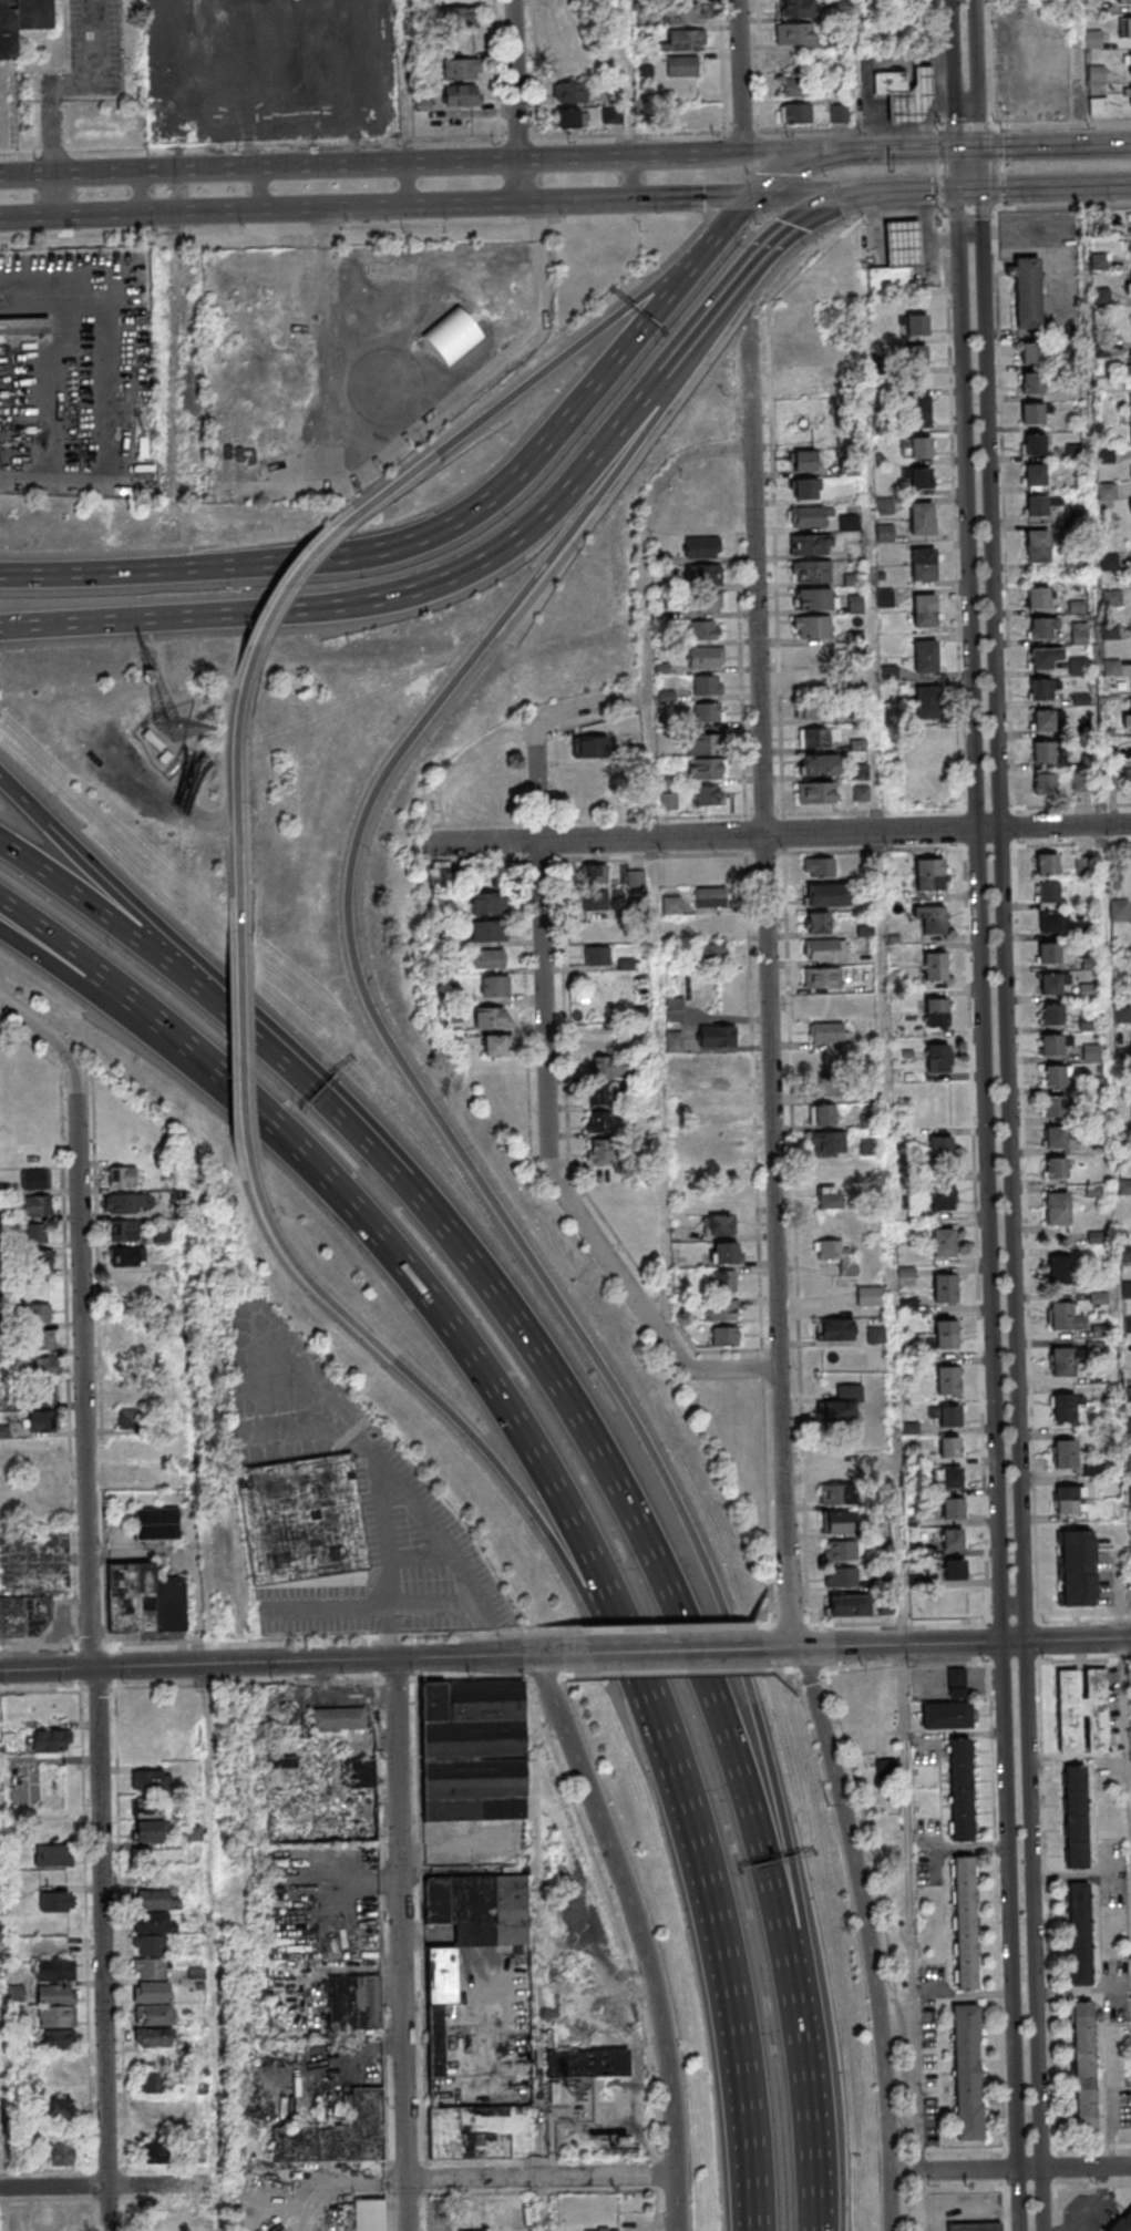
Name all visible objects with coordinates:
building: (460, 1)
building: (1127, 1)
building: (796, 8)
building: (1093, 8)
building: (682, 13)
building: (1022, 13)
building: (460, 20)
building: (22, 23)
building: (1128, 28)
building: (580, 31)
building: (795, 33)
building: (685, 40)
building: (1093, 40)
road: (96, 42)
parking lot: (100, 49)
building: (1130, 61)
building: (682, 65)
building: (461, 69)
road: (1077, 72)
road: (955, 74)
road: (977, 74)
building: (1097, 74)
road: (742, 76)
road: (629, 79)
road: (404, 82)
building: (891, 83)
road: (74, 85)
building: (793, 86)
building: (569, 92)
building: (462, 95)
building: (1130, 96)
building: (913, 99)
road: (517, 101)
building: (1098, 106)
building: (795, 112)
building: (837, 113)
building: (611, 114)
building: (689, 116)
building: (568, 117)
road: (53, 130)
road: (815, 131)
road: (1043, 145)
road: (249, 146)
traffic signals: (981, 148)
road: (926, 150)
traffic signals: (958, 150)
road: (873, 151)
road: (775, 153)
road: (798, 164)
road: (350, 165)
road: (981, 168)
road: (958, 169)
road: (633, 178)
road: (408, 185)
road: (1056, 186)
road: (263, 188)
traffic signals: (958, 189)
road: (970, 189)
traffic signals: (983, 189)
road: (925, 191)
road: (143, 192)
traffic signals: (892, 192)
road: (822, 193)
road: (55, 195)
traffic signals: (753, 195)
road: (377, 206)
road: (810, 215)
road: (722, 232)
road: (971, 235)
building: (904, 245)
building: (890, 278)
building: (1130, 282)
road: (733, 290)
building: (1027, 291)
building: (917, 325)
building: (24, 327)
building: (454, 330)
building: (793, 351)
building: (1031, 353)
building: (917, 356)
building: (1130, 362)
road: (535, 378)
building: (804, 378)
building: (1032, 383)
building: (919, 411)
building: (1034, 414)
building: (1130, 415)
building: (1035, 444)
building: (922, 448)
building: (1075, 453)
building: (1107, 456)
building: (801, 460)
road: (1004, 466)
building: (851, 470)
building: (1036, 475)
road: (773, 477)
building: (922, 479)
road: (501, 487)
building: (803, 487)
building: (1107, 493)
building: (1038, 506)
road: (955, 511)
building: (1075, 514)
building: (809, 517)
building: (923, 520)
building: (849, 522)
building: (884, 533)
road: (515, 539)
building: (1037, 541)
building: (809, 546)
building: (700, 548)
building: (1076, 559)
building: (1110, 563)
building: (924, 565)
road: (113, 572)
road: (299, 572)
building: (812, 573)
building: (703, 576)
building: (884, 597)
building: (1039, 599)
building: (1113, 599)
building: (815, 600)
building: (707, 604)
road: (646, 605)
building: (1078, 607)
building: (925, 611)
road: (110, 619)
building: (813, 627)
building: (1041, 629)
building: (703, 631)
building: (1111, 633)
building: (1080, 635)
building: (813, 656)
building: (927, 658)
building: (707, 659)
building: (1040, 660)
building: (1079, 668)
building: (1113, 669)
road: (741, 685)
building: (708, 687)
building: (1042, 690)
building: (1082, 701)
building: (928, 703)
building: (806, 709)
building: (709, 714)
building: (1045, 721)
building: (1127, 722)
building: (821, 739)
building: (589, 746)
building: (709, 746)
building: (1045, 753)
building: (821, 767)
building: (710, 770)
building: (592, 773)
building: (1121, 780)
building: (1083, 783)
building: (1046, 785)
building: (816, 794)
building: (709, 798)
building: (667, 800)
road: (1072, 806)
road: (237, 819)
road: (835, 832)
road: (484, 843)
road: (767, 845)
road: (938, 849)
road: (634, 857)
building: (816, 866)
building: (1048, 866)
building: (1086, 867)
building: (595, 872)
building: (930, 876)
building: (636, 877)
road: (120, 890)
building: (1049, 894)
building: (826, 895)
building: (710, 896)
building: (596, 901)
building: (671, 904)
building: (490, 905)
building: (1120, 912)
building: (816, 922)
building: (934, 922)
building: (1051, 924)
building: (713, 925)
building: (1086, 932)
building: (490, 933)
building: (822, 950)
building: (713, 953)
building: (596, 955)
building: (1050, 955)
road: (86, 959)
building: (491, 960)
building: (936, 968)
road: (883, 973)
building: (822, 977)
road: (82, 983)
building: (1051, 986)
building: (495, 988)
building: (1089, 993)
road: (214, 1005)
road: (526, 1014)
building: (937, 1015)
building: (1122, 1016)
building: (1052, 1017)
building: (492, 1019)
building: (1090, 1025)
building: (829, 1034)
building: (716, 1036)
building: (596, 1038)
road: (51, 1042)
road: (565, 1046)
building: (1053, 1047)
building: (495, 1048)
building: (1123, 1050)
building: (1092, 1055)
road: (246, 1057)
road: (547, 1057)
building: (824, 1060)
building: (939, 1060)
building: (716, 1062)
building: (609, 1069)
building: (1056, 1078)
building: (825, 1087)
road: (333, 1090)
building: (598, 1094)
building: (719, 1096)
building: (1056, 1109)
building: (822, 1114)
building: (598, 1121)
building: (1057, 1139)
building: (826, 1141)
building: (598, 1149)
building: (940, 1153)
building: (1058, 1170)
building: (122, 1176)
building: (35, 1179)
road: (480, 1181)
building: (1124, 1189)
building: (829, 1196)
building: (943, 1200)
building: (124, 1203)
building: (35, 1205)
road: (989, 1210)
road: (1014, 1210)
building: (1058, 1213)
building: (721, 1227)
building: (123, 1230)
building: (35, 1233)
road: (796, 1240)
building: (1098, 1240)
building: (944, 1245)
building: (127, 1255)
building: (726, 1255)
building: (1127, 1255)
building: (834, 1256)
building: (38, 1260)
road: (760, 1269)
building: (1061, 1271)
building: (726, 1283)
building: (946, 1291)
building: (1128, 1291)
building: (868, 1296)
building: (39, 1313)
building: (722, 1313)
building: (1062, 1318)
road: (462, 1326)
building: (1128, 1327)
building: (834, 1329)
building: (127, 1332)
building: (947, 1337)
building: (727, 1338)
building: (42, 1340)
building: (1063, 1364)
building: (40, 1368)
building: (949, 1382)
building: (43, 1394)
building: (1129, 1396)
building: (841, 1407)
road: (783, 1409)
building: (1065, 1410)
road: (457, 1416)
building: (130, 1418)
building: (952, 1419)
building: (41, 1421)
building: (1130, 1428)
building: (125, 1445)
building: (950, 1450)
building: (1067, 1457)
building: (1130, 1462)
building: (832, 1464)
building: (953, 1480)
building: (836, 1494)
road: (1035, 1499)
building: (1068, 1502)
building: (954, 1511)
building: (301, 1519)
building: (835, 1522)
building: (156, 1523)
road: (986, 1524)
building: (953, 1542)
road: (788, 1550)
building: (840, 1550)
building: (1078, 1571)
building: (956, 1572)
building: (841, 1576)
building: (144, 1600)
building: (956, 1603)
building: (849, 1604)
building: (24, 1616)
road: (686, 1624)
road: (763, 1626)
road: (670, 1631)
road: (291, 1639)
traffic signals: (1028, 1643)
road: (948, 1644)
traffic signals: (1004, 1644)
road: (679, 1652)
road: (296, 1662)
road: (93, 1663)
building: (956, 1683)
road: (1129, 1704)
building: (1082, 1710)
building: (946, 1716)
building: (338, 1719)
building: (51, 1740)
building: (472, 1750)
road: (685, 1776)
building: (151, 1779)
building: (960, 1792)
building: (316, 1801)
building: (148, 1808)
building: (1077, 1820)
building: (151, 1832)
building: (52, 1857)
building: (156, 1901)
building: (58, 1903)
road: (861, 1908)
road: (911, 1909)
building: (154, 1923)
road: (212, 1924)
building: (966, 1926)
road: (639, 1935)
building: (1081, 1937)
road: (401, 1944)
building: (151, 1957)
road: (538, 1964)
building: (54, 1970)
building: (353, 2001)
building: (153, 2003)
building: (56, 2006)
building: (477, 2024)
building: (153, 2037)
building: (59, 2039)
road: (747, 2040)
building: (587, 2063)
building: (1084, 2068)
building: (967, 2077)
building: (150, 2083)
building: (55, 2108)
building: (336, 2135)
road: (1, 2138)
building: (624, 2141)
road: (1093, 2148)
building: (155, 2152)
building: (63, 2153)
road: (1009, 2169)
road: (814, 2177)
road: (503, 2178)
road: (107, 2184)
road: (1073, 2187)
road: (921, 2201)
road: (888, 2202)
building: (369, 2215)
building: (1122, 2222)
building: (160, 2229)
building: (602, 2229)

